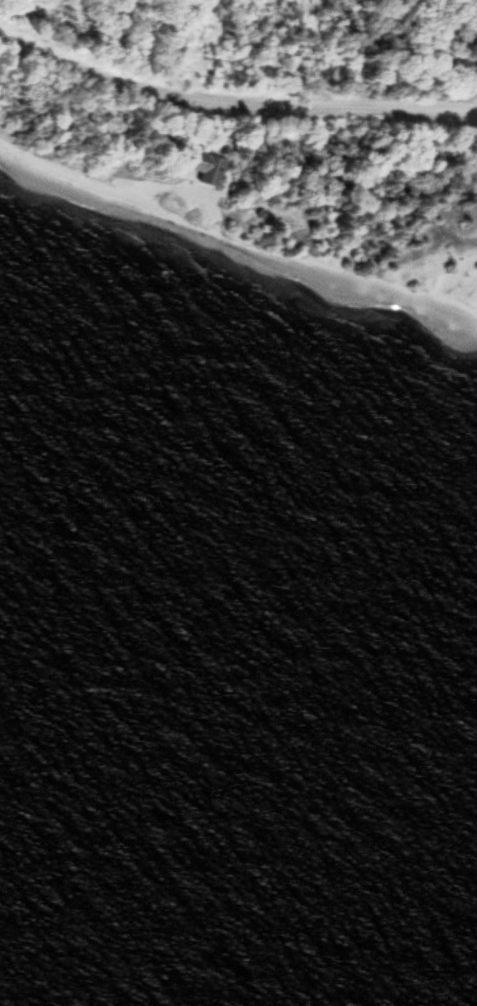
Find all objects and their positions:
road: (233, 107)
building: (199, 168)

